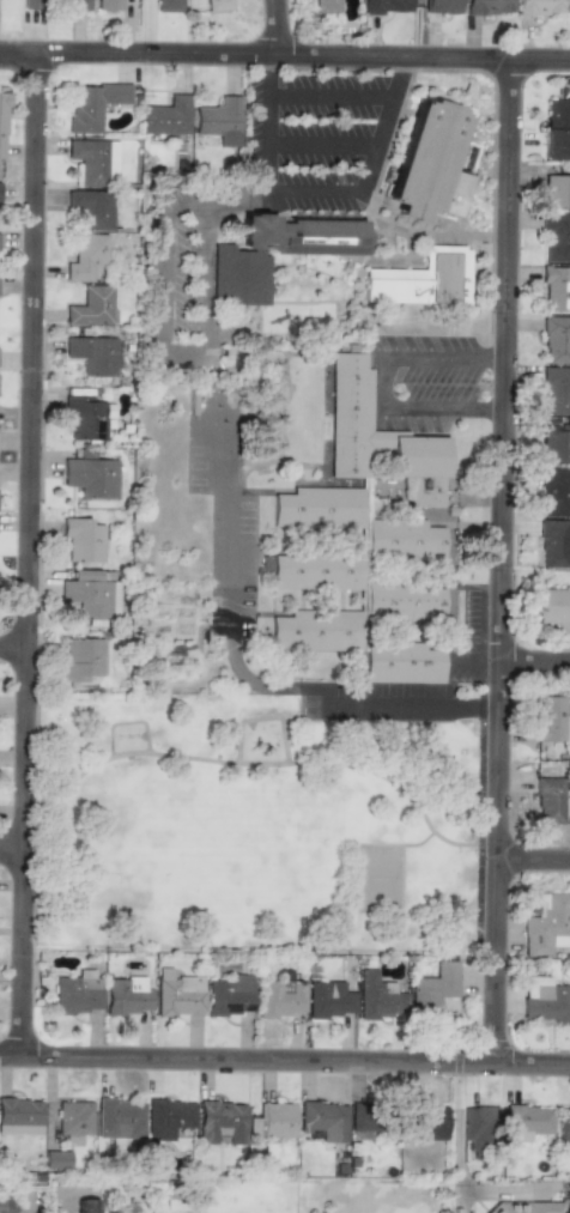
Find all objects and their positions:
building: (31, 4)
building: (78, 5)
building: (108, 5)
building: (168, 5)
building: (217, 5)
building: (326, 6)
building: (387, 6)
building: (442, 6)
building: (487, 6)
building: (539, 7)
road: (275, 28)
road: (285, 56)
road: (267, 63)
road: (410, 68)
road: (333, 99)
building: (93, 105)
building: (166, 116)
building: (218, 120)
building: (2, 123)
building: (556, 129)
road: (268, 133)
road: (384, 139)
road: (326, 142)
building: (93, 160)
building: (427, 177)
building: (556, 190)
road: (263, 198)
building: (92, 207)
building: (554, 237)
building: (85, 256)
building: (279, 261)
road: (163, 273)
road: (208, 274)
building: (426, 284)
building: (554, 286)
building: (91, 307)
building: (556, 339)
road: (182, 350)
building: (91, 354)
road: (443, 362)
road: (383, 387)
building: (556, 389)
road: (443, 412)
building: (86, 417)
building: (554, 445)
building: (91, 477)
building: (363, 491)
building: (552, 492)
building: (83, 539)
building: (553, 542)
road: (28, 554)
road: (498, 562)
building: (91, 595)
building: (404, 601)
building: (553, 605)
building: (316, 631)
road: (13, 645)
building: (81, 660)
building: (402, 662)
road: (242, 669)
road: (533, 672)
building: (550, 718)
road: (359, 746)
road: (257, 768)
road: (53, 775)
park: (249, 830)
road: (11, 848)
road: (423, 848)
road: (529, 871)
building: (545, 924)
building: (433, 987)
building: (75, 993)
building: (229, 994)
building: (126, 995)
building: (178, 995)
building: (280, 997)
building: (329, 999)
building: (377, 999)
building: (545, 999)
road: (284, 1060)
building: (19, 1115)
building: (73, 1117)
building: (168, 1117)
building: (119, 1118)
building: (277, 1120)
building: (323, 1120)
building: (427, 1121)
building: (526, 1121)
building: (220, 1122)
building: (362, 1123)
building: (564, 1126)
building: (475, 1133)
road: (457, 1156)
building: (14, 1206)
building: (86, 1206)
building: (526, 1207)

